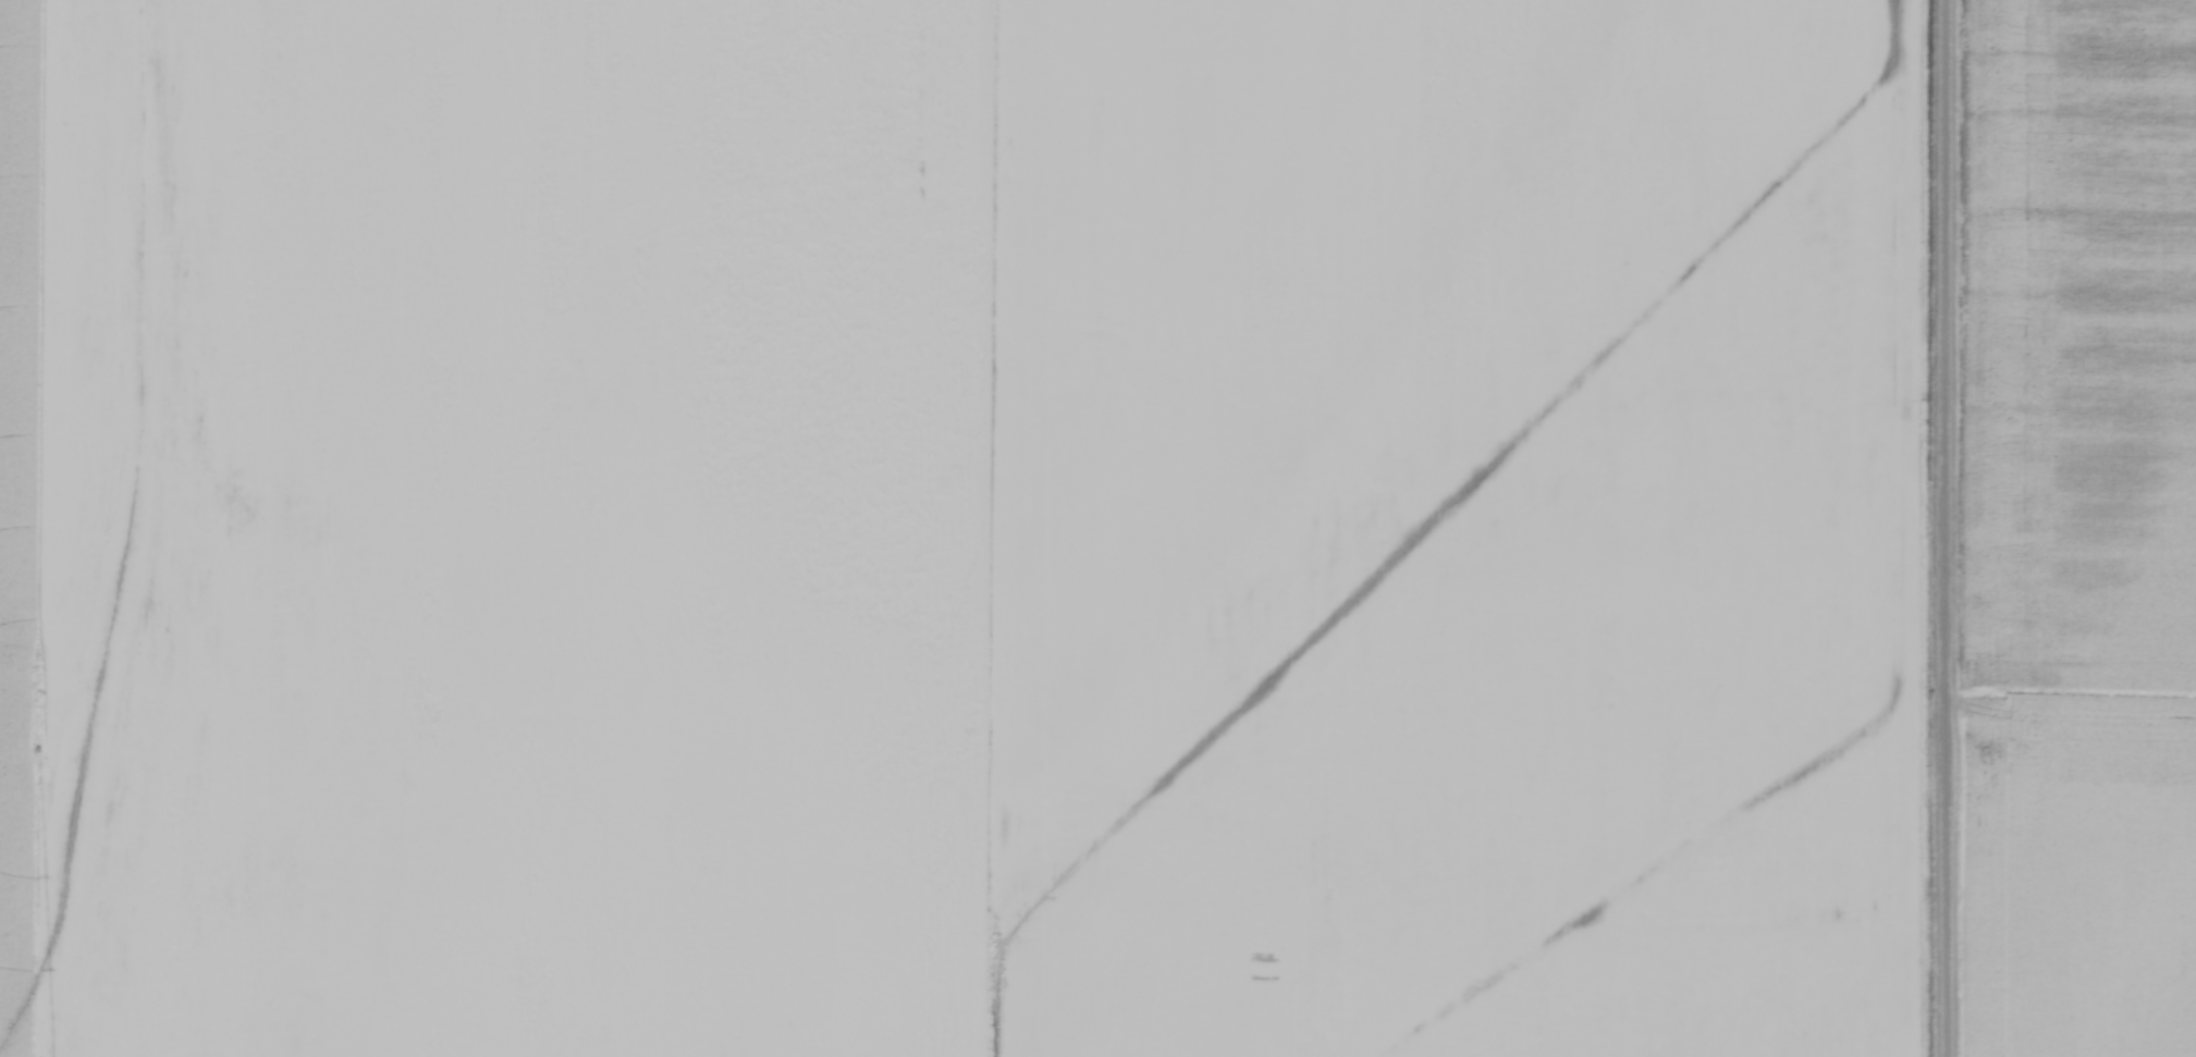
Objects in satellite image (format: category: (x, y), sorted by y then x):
road: (1960, 528)
road: (2080, 701)

